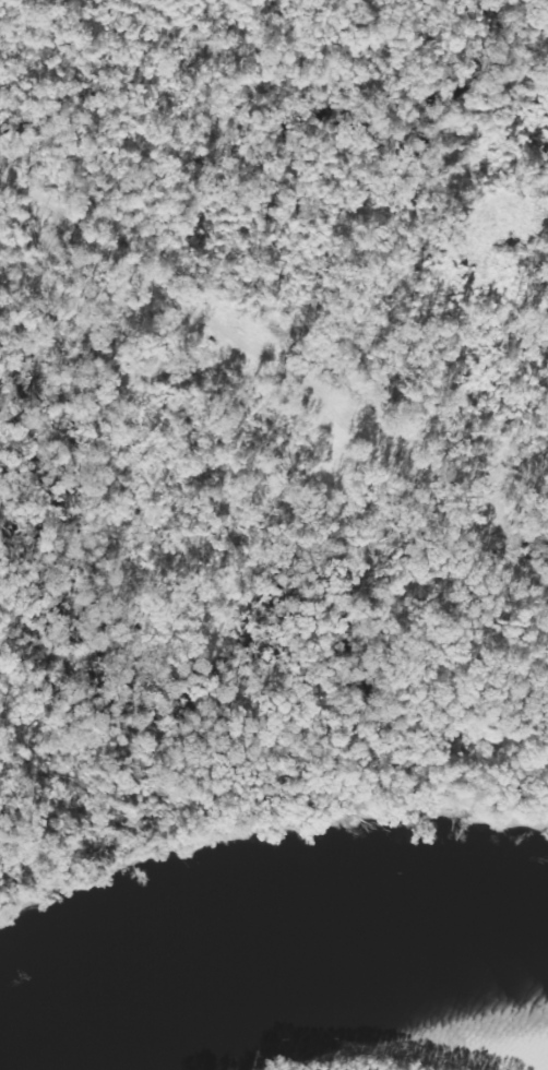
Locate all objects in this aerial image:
river: (265, 937)

